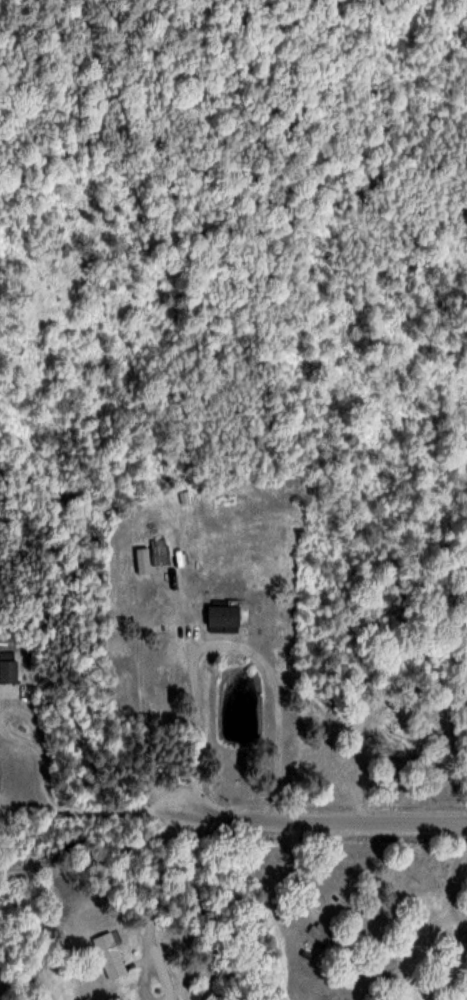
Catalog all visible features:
building: (158, 551)
building: (221, 617)
building: (7, 666)
building: (402, 726)
road: (337, 824)
building: (326, 937)
building: (109, 954)

